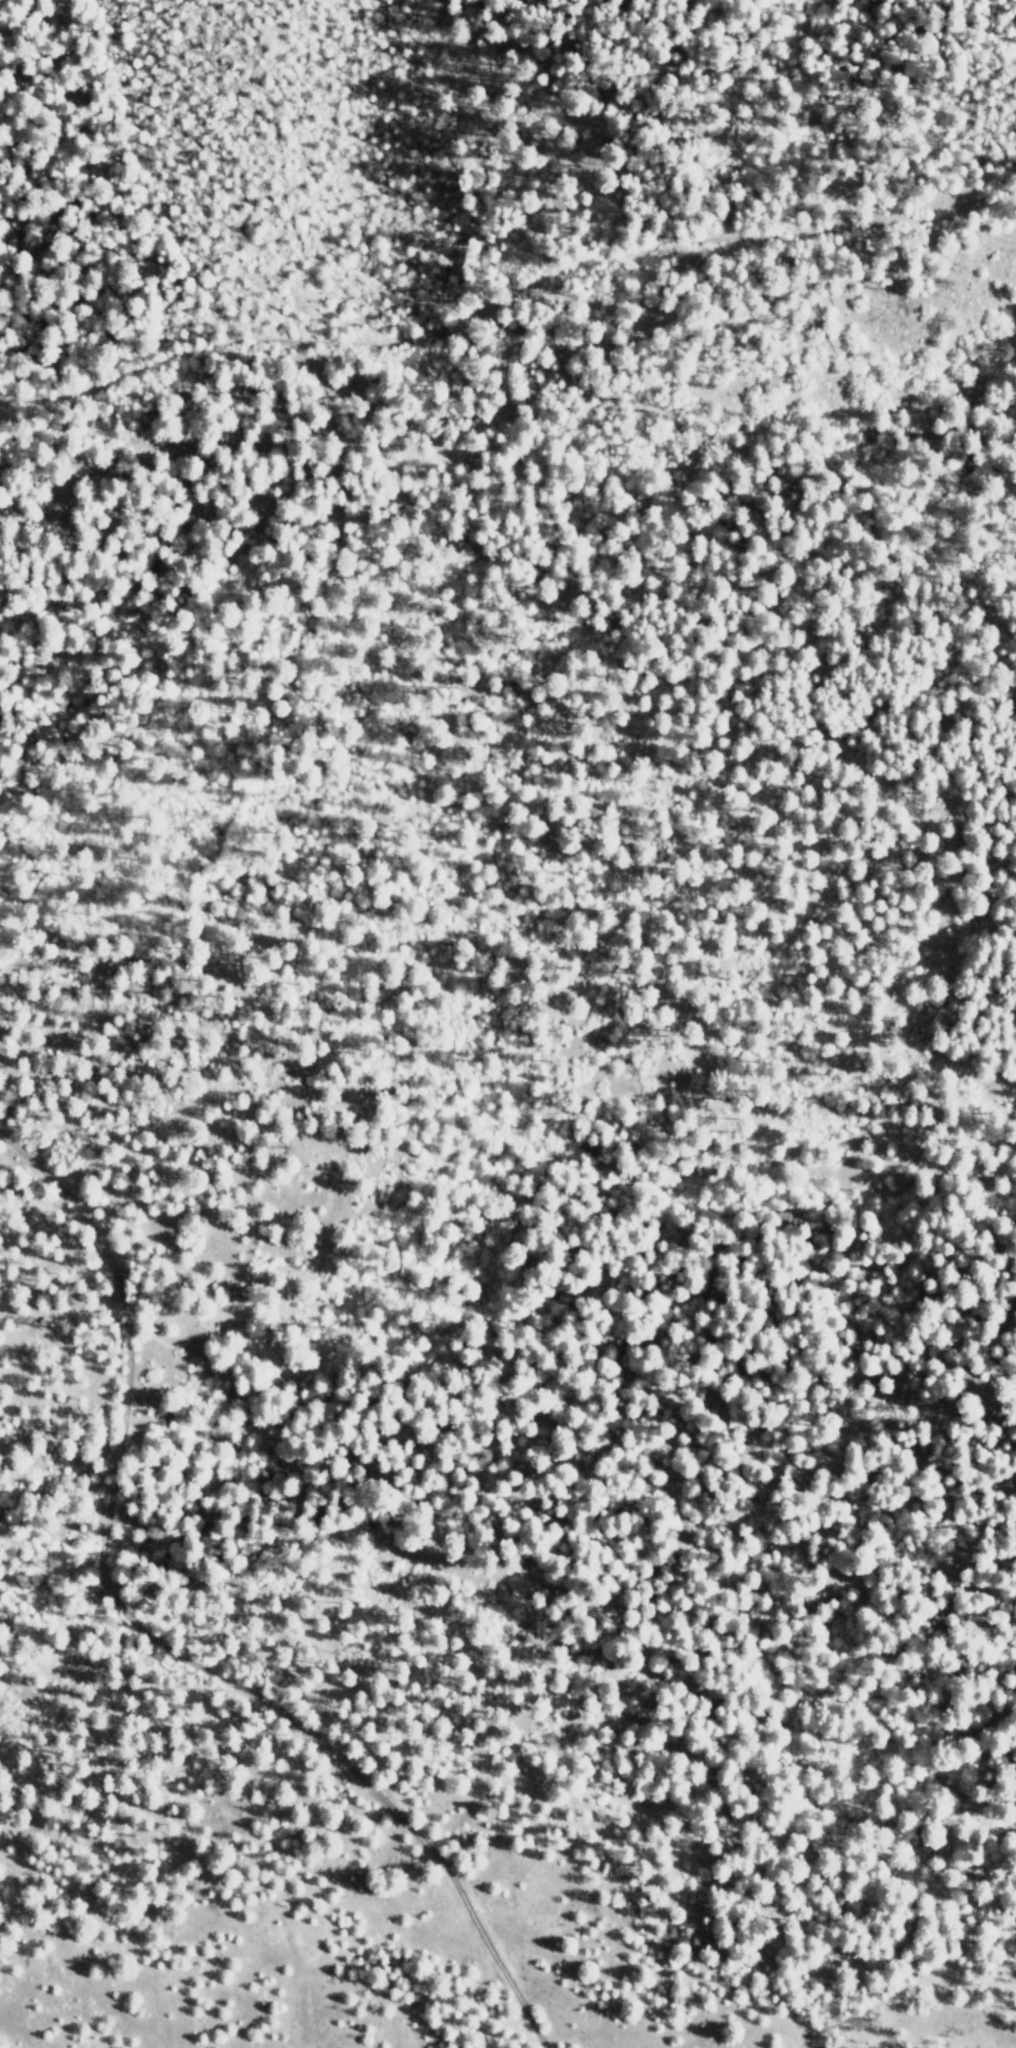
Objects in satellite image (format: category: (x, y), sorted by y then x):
road: (483, 313)
road: (149, 1644)

